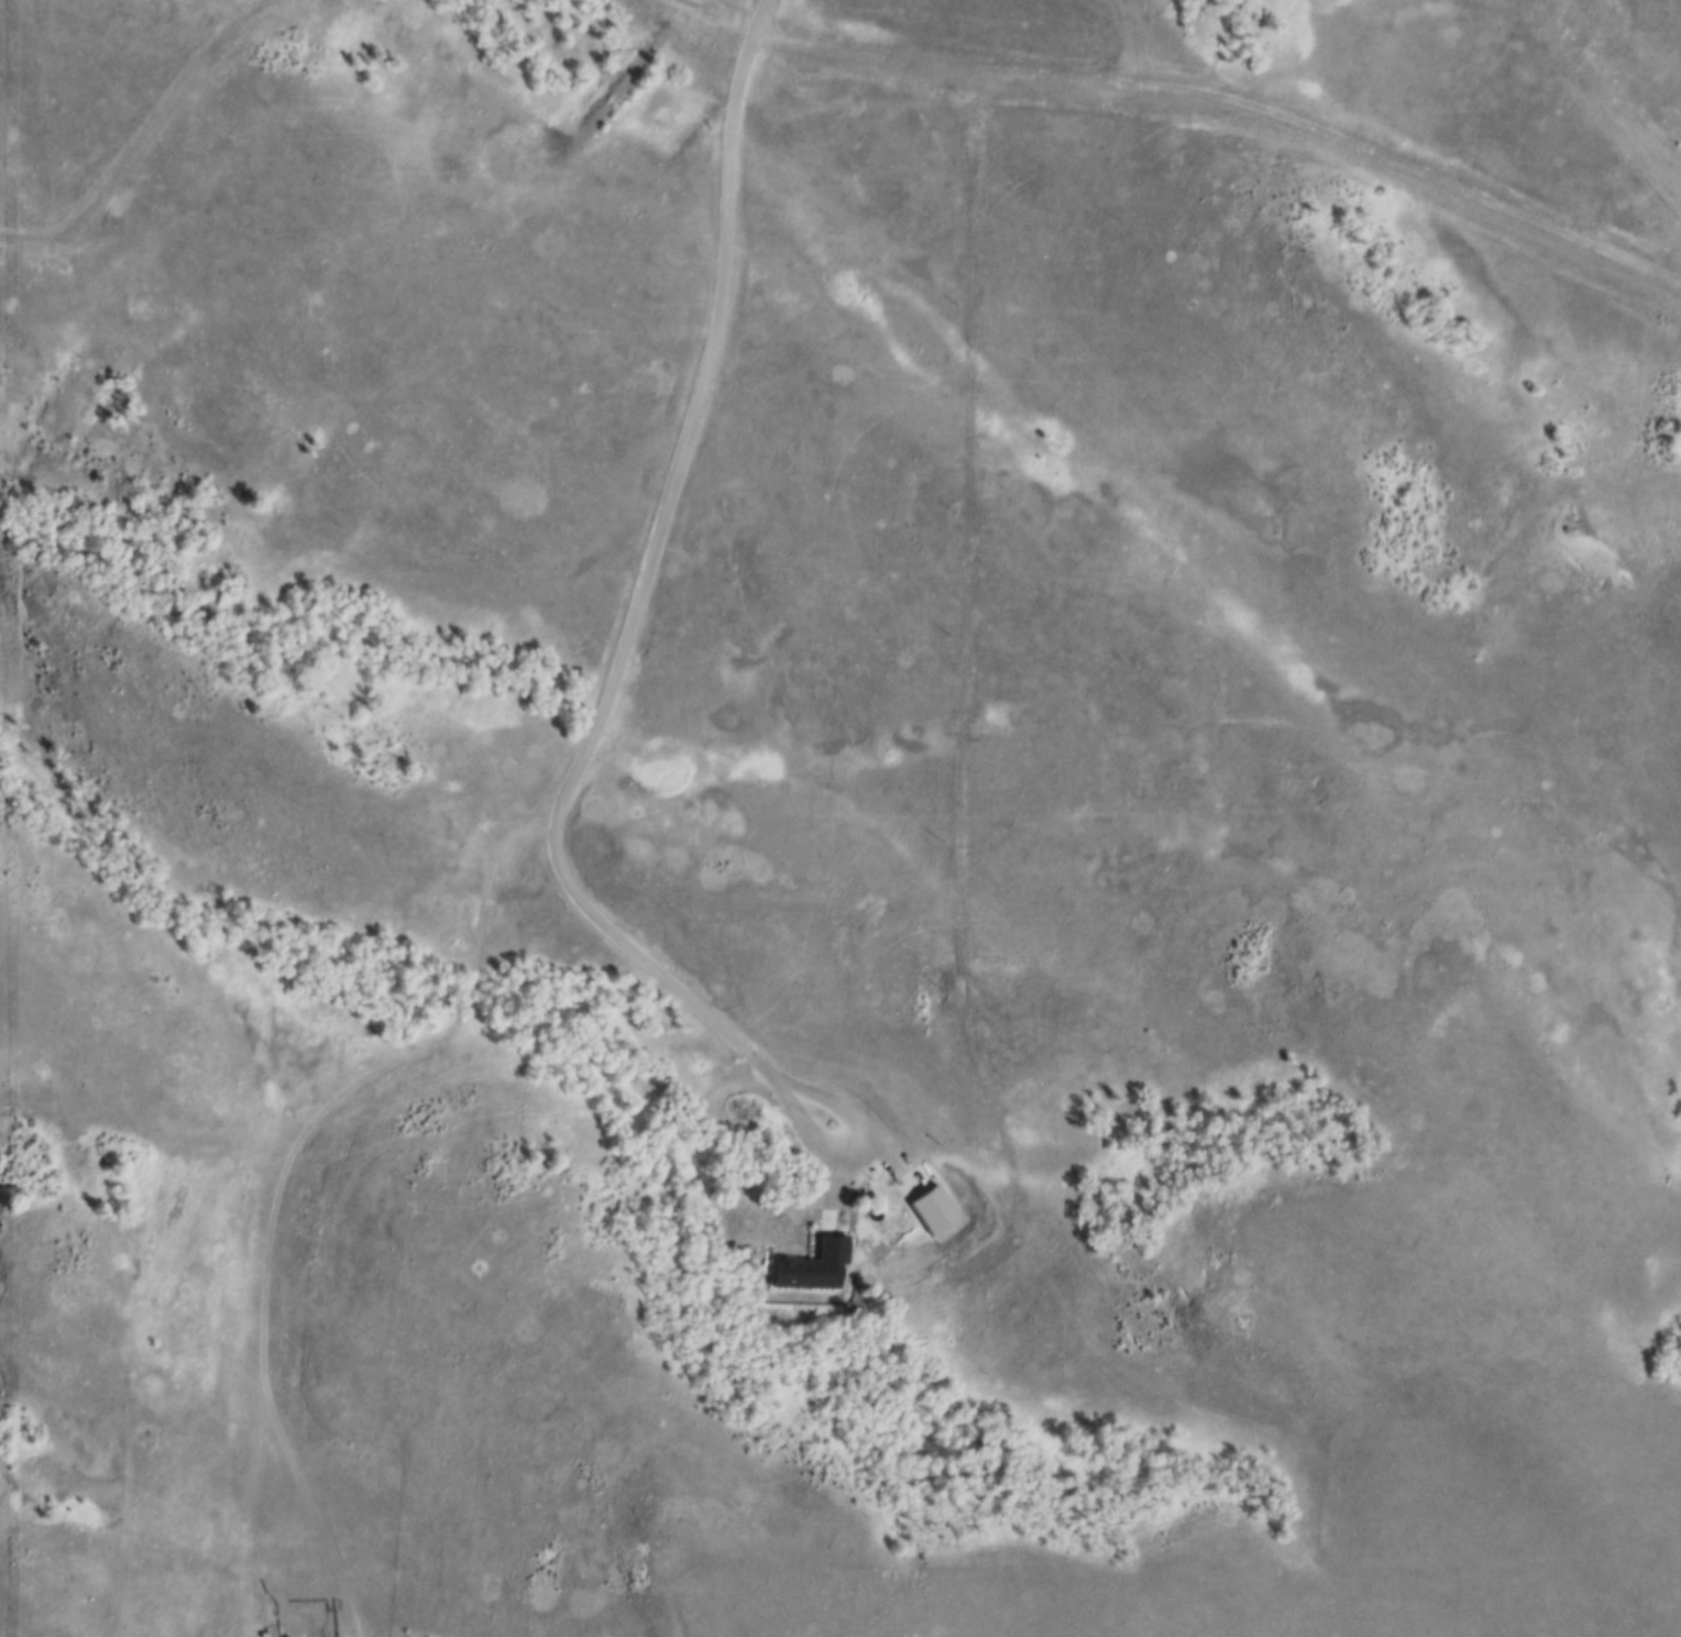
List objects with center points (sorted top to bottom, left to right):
road: (1201, 88)
road: (640, 595)
road: (856, 1139)
building: (886, 1235)

